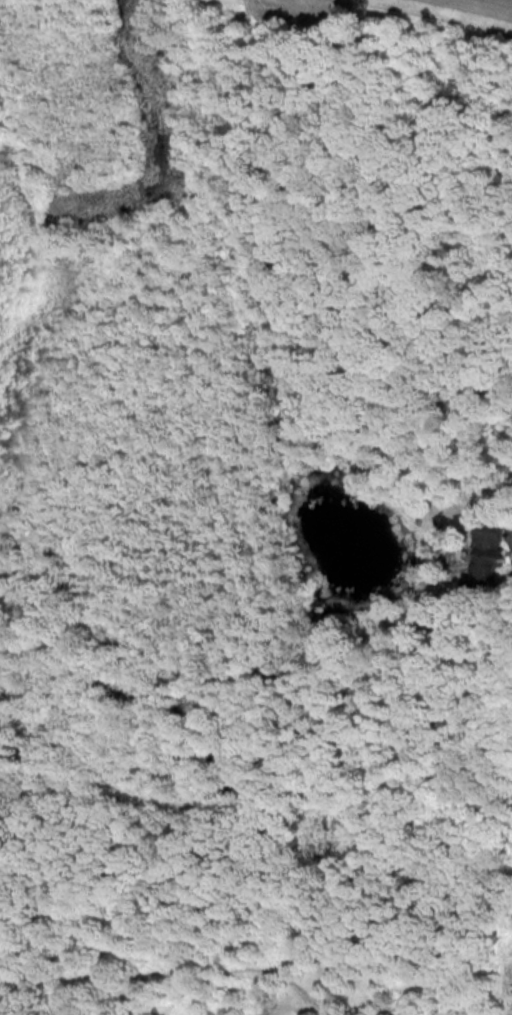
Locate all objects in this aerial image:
building: (490, 554)

